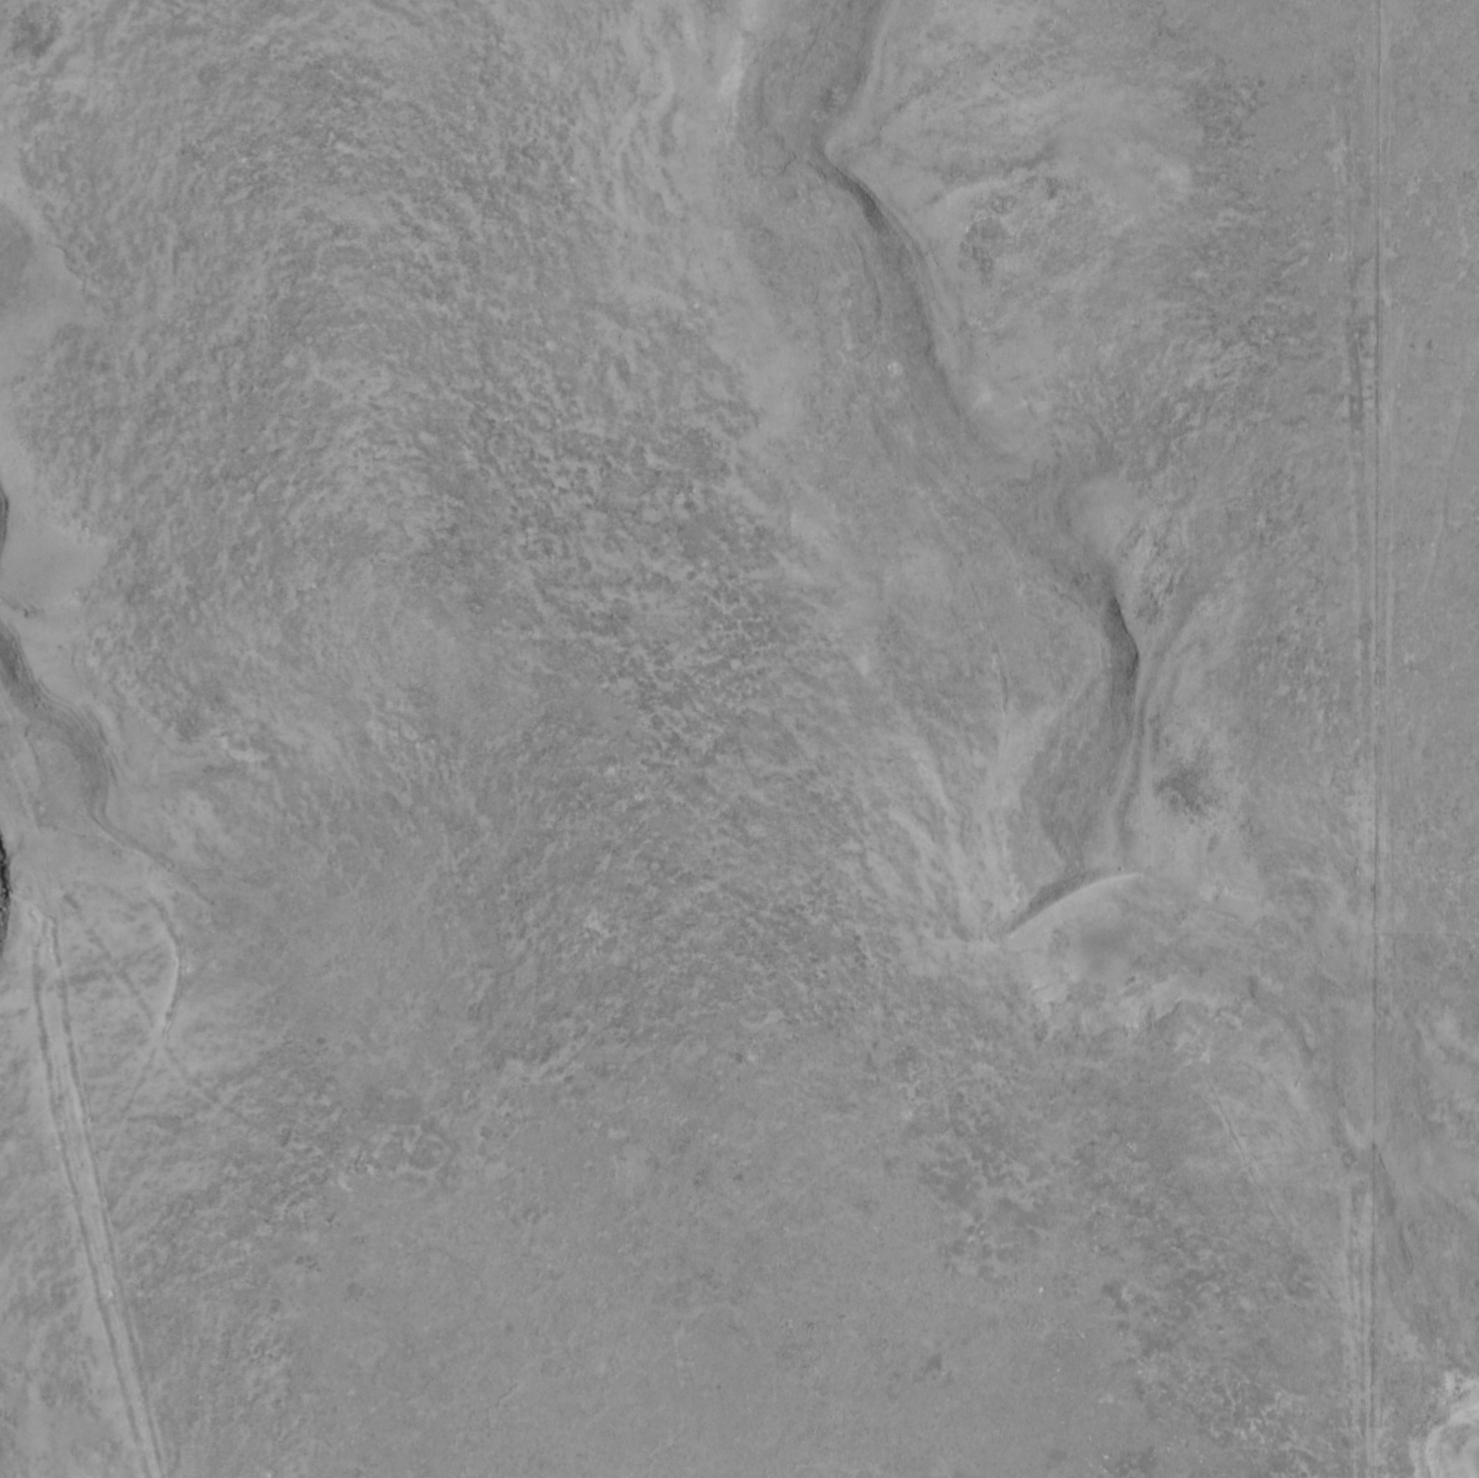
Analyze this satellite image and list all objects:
road: (1317, 739)

